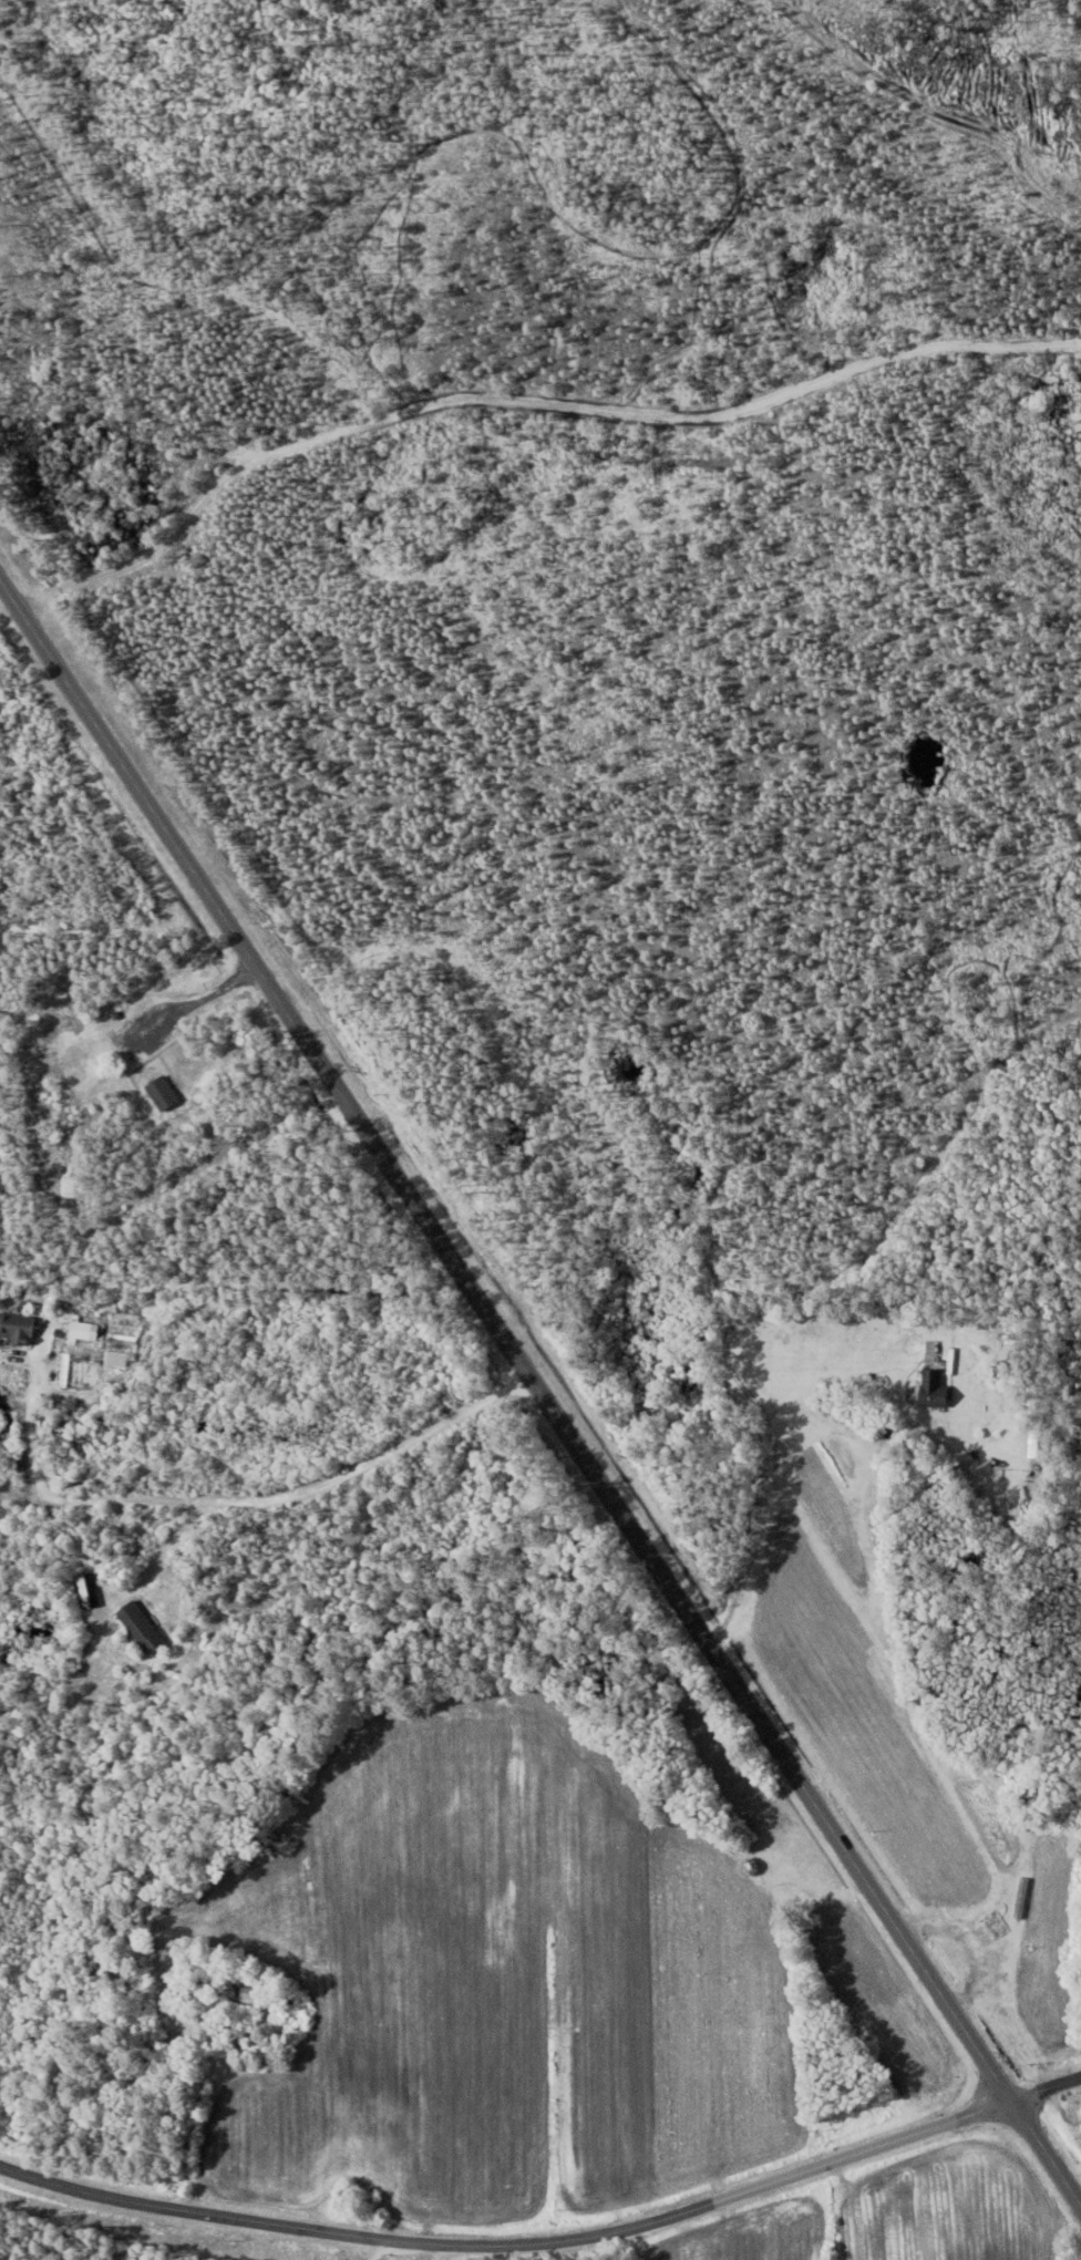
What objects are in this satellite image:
road: (188, 1005)
building: (163, 1093)
building: (18, 1328)
building: (936, 1389)
road: (539, 1393)
road: (28, 1408)
building: (1038, 1446)
road: (300, 1489)
road: (167, 1546)
building: (87, 1590)
building: (142, 1628)
building: (244, 1992)
road: (340, 2023)
road: (1044, 2086)
road: (508, 2236)
road: (323, 2246)
road: (334, 2246)

